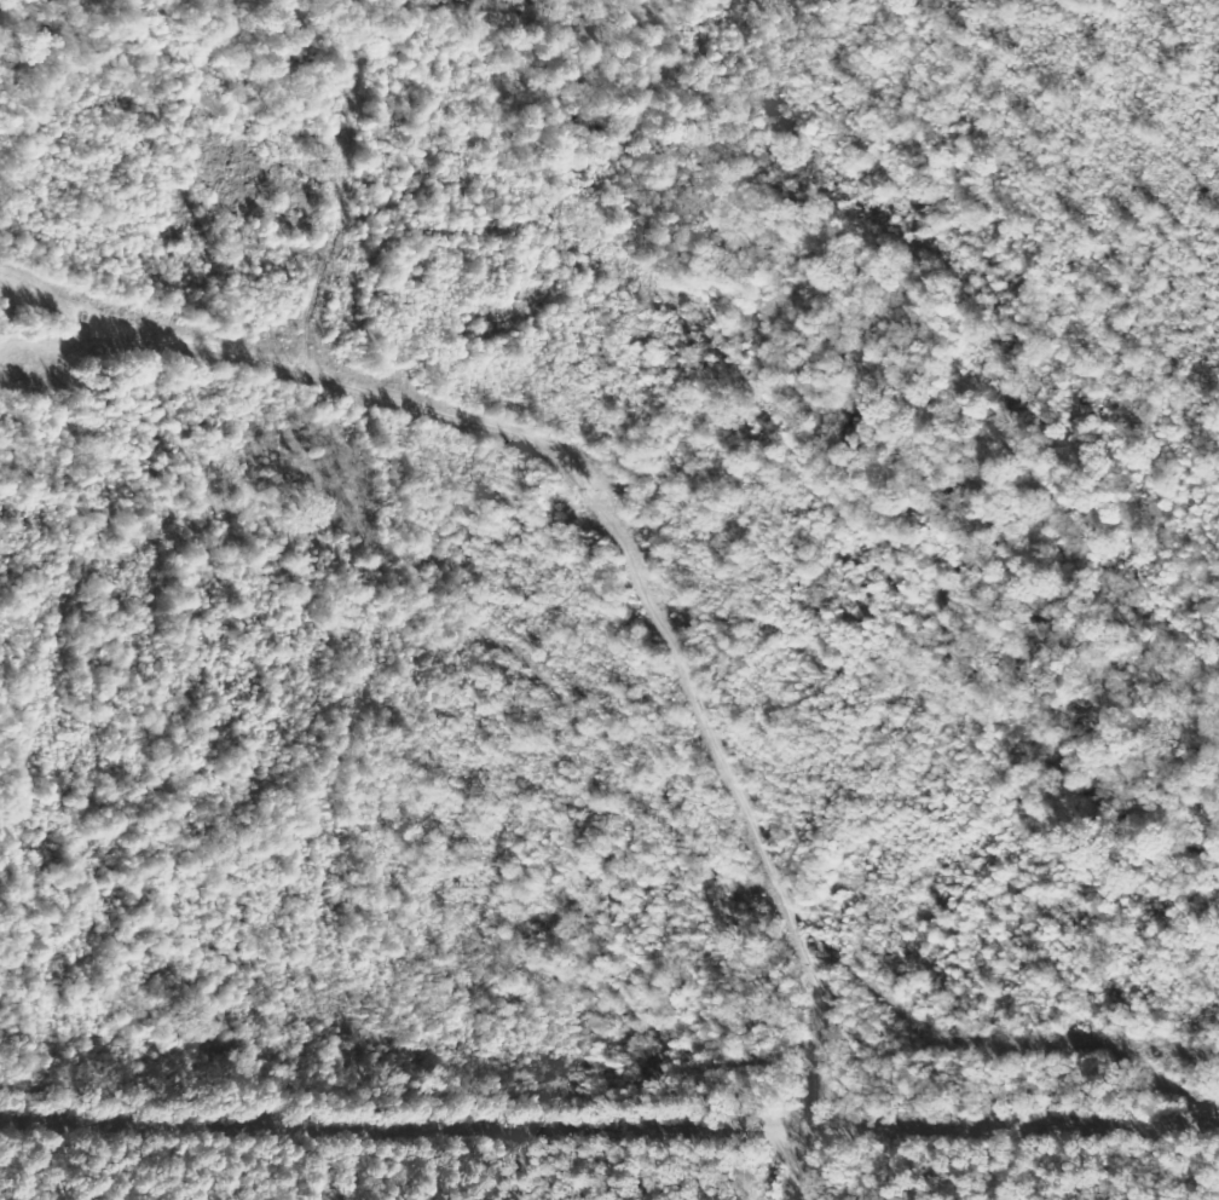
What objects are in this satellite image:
road: (659, 1075)

